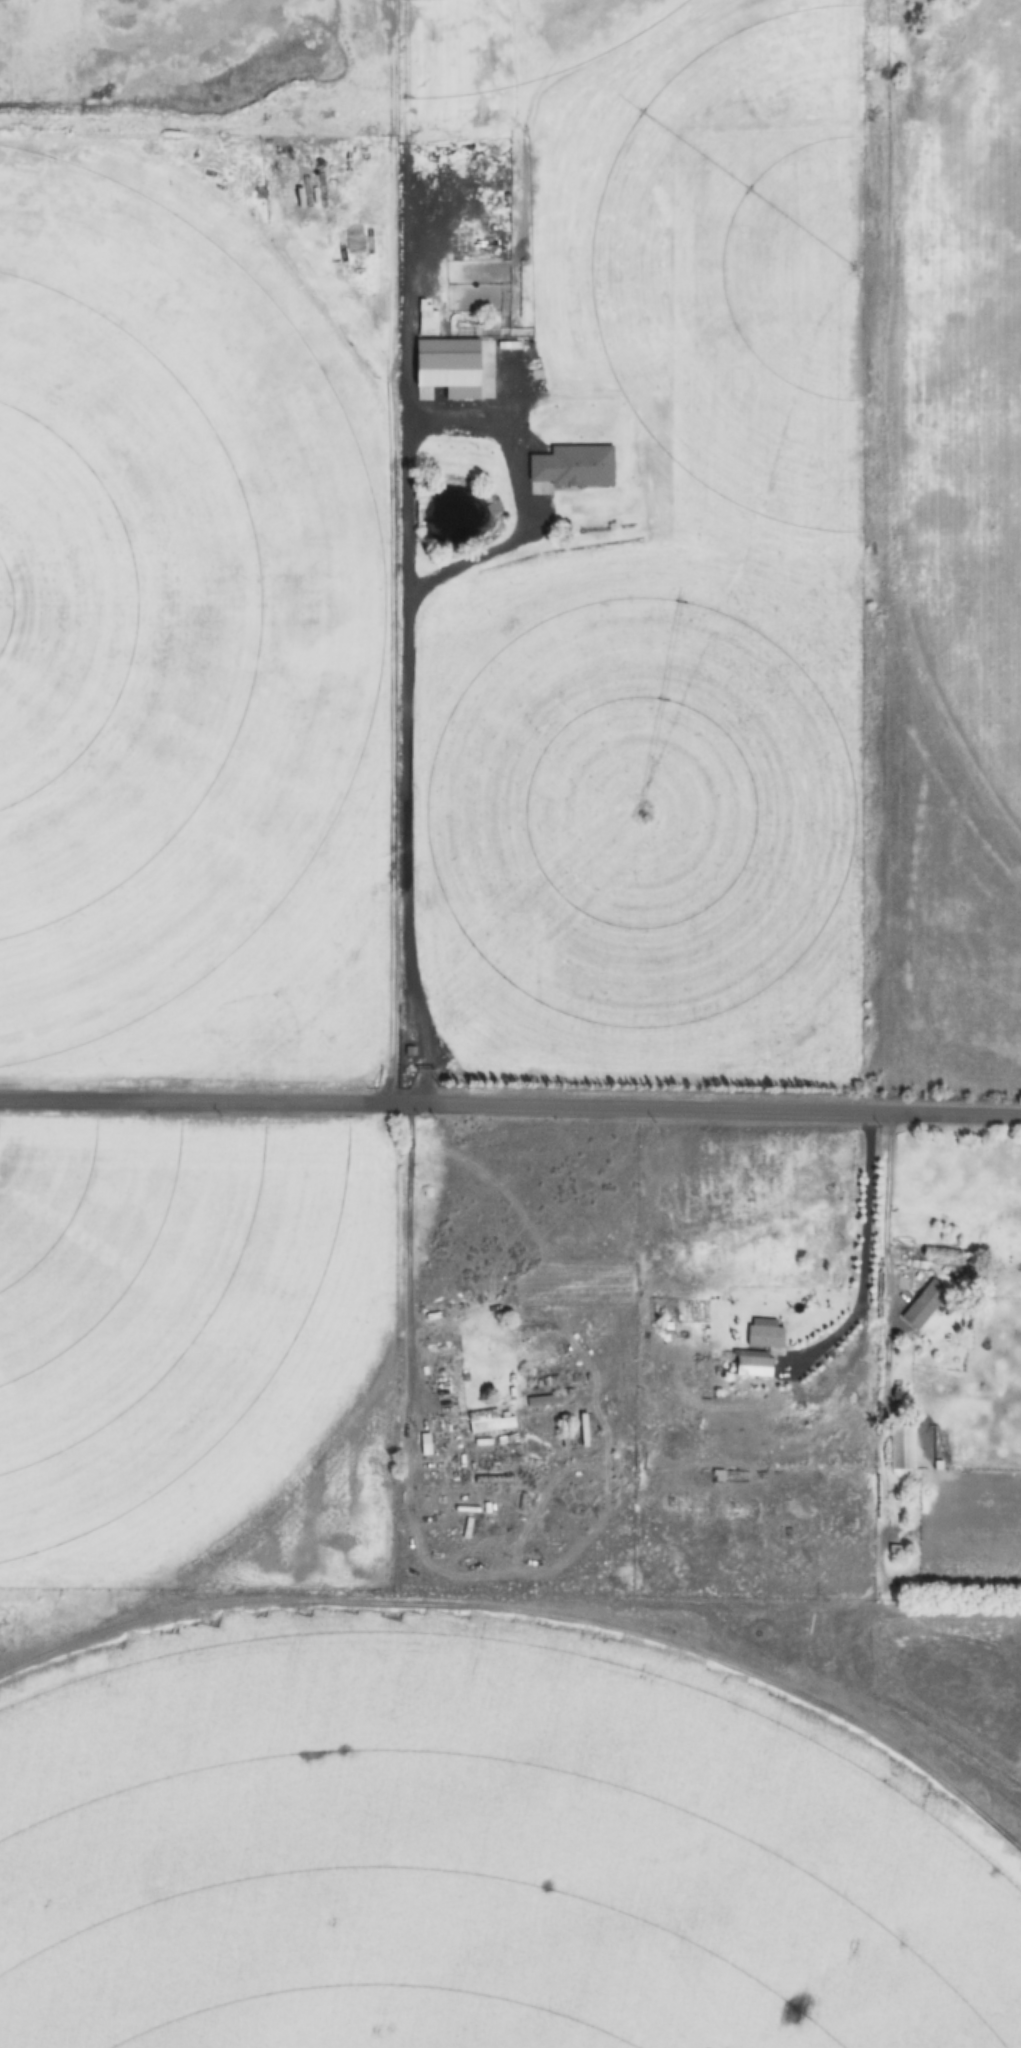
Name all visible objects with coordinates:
crop: (522, 53)
building: (295, 160)
building: (460, 370)
crop: (961, 389)
building: (571, 467)
crop: (162, 607)
crop: (643, 825)
road: (510, 1102)
road: (411, 1235)
building: (927, 1304)
crop: (186, 1315)
building: (754, 1363)
building: (544, 1400)
building: (487, 1421)
building: (563, 1431)
building: (900, 1446)
crop: (472, 1856)

